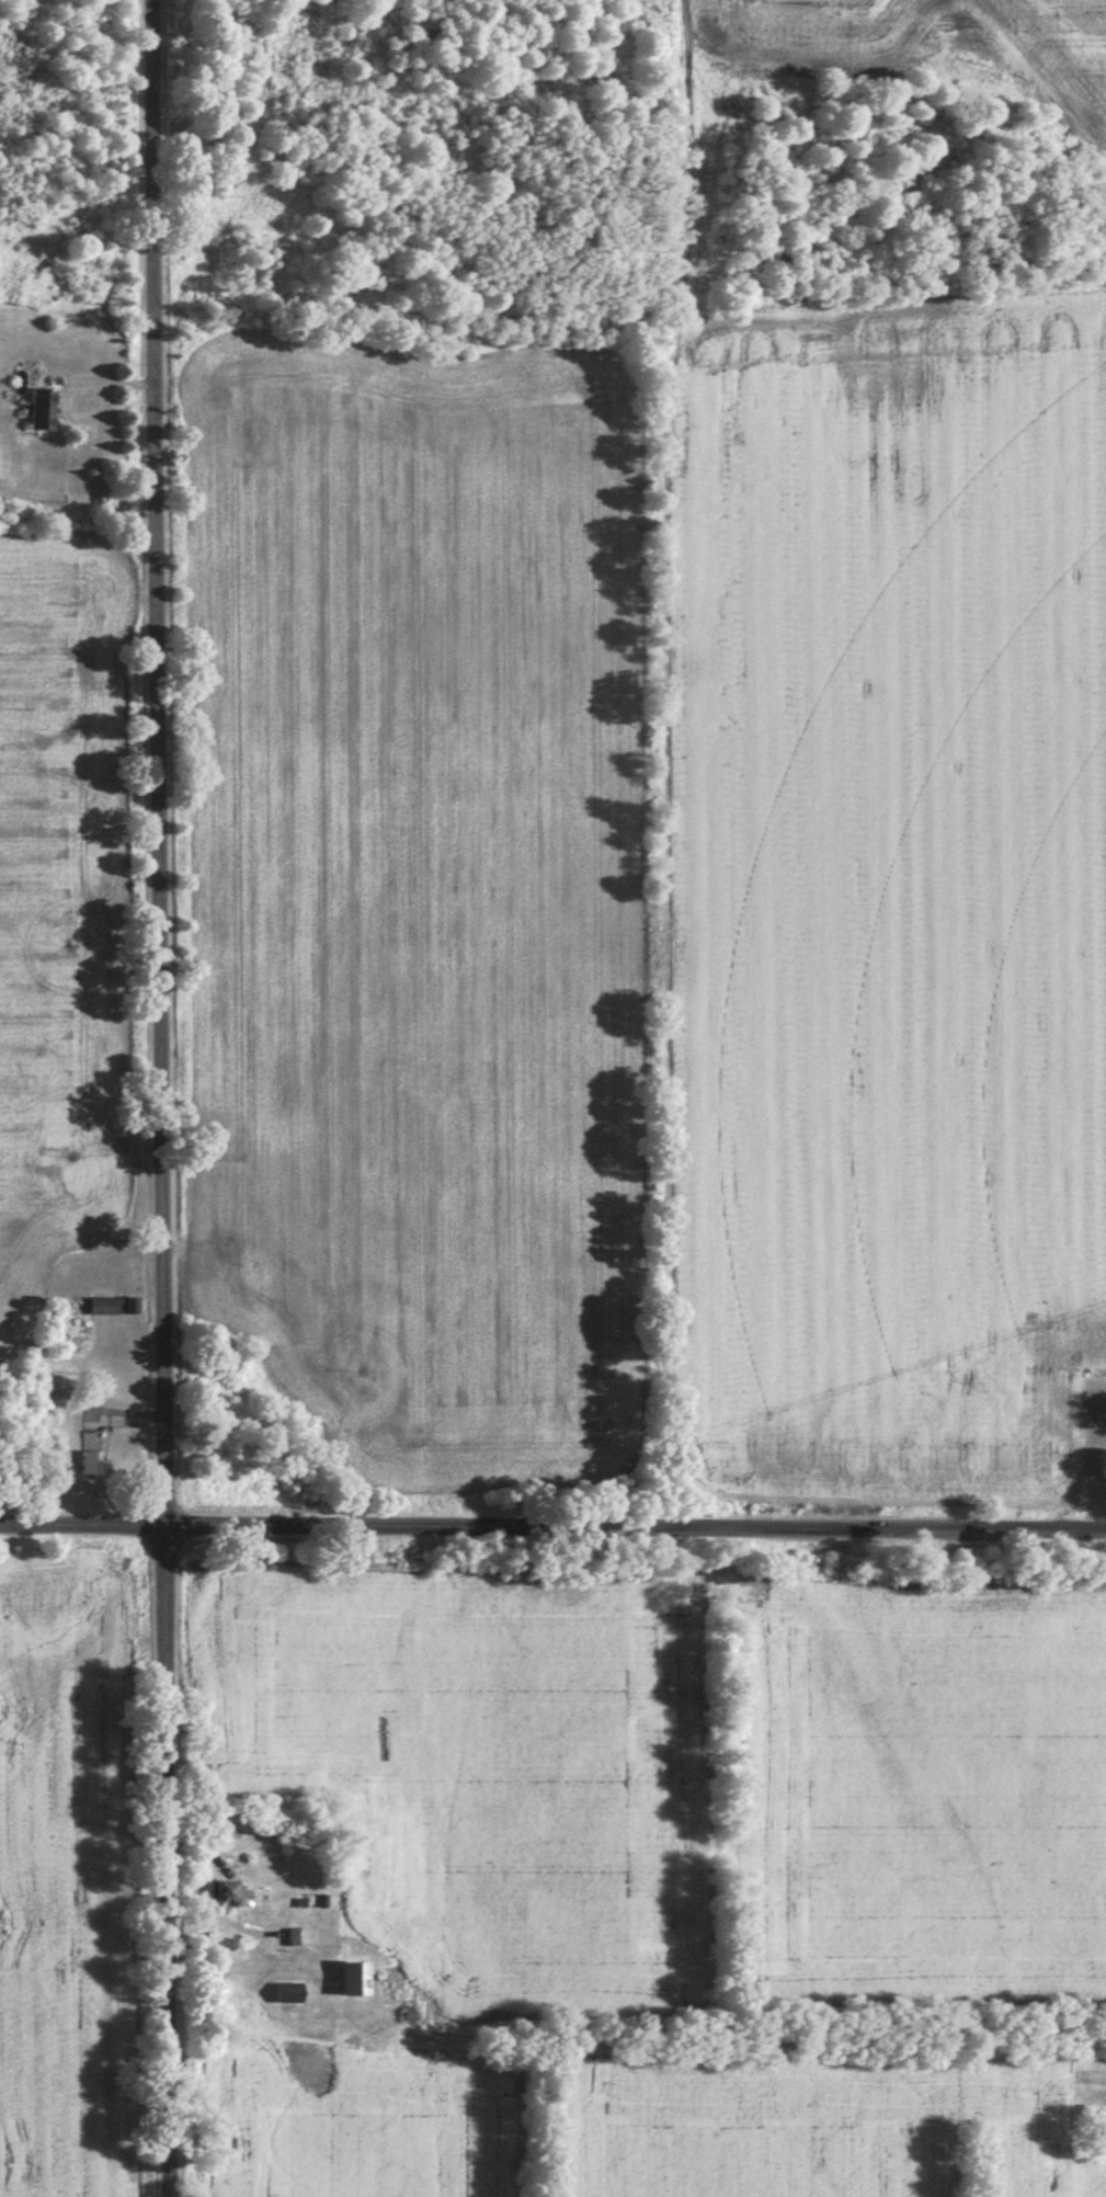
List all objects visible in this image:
building: (44, 410)
road: (170, 1097)
building: (113, 1306)
building: (93, 1453)
road: (552, 1532)
building: (230, 1893)
building: (299, 1936)
building: (358, 1978)
building: (293, 1993)

